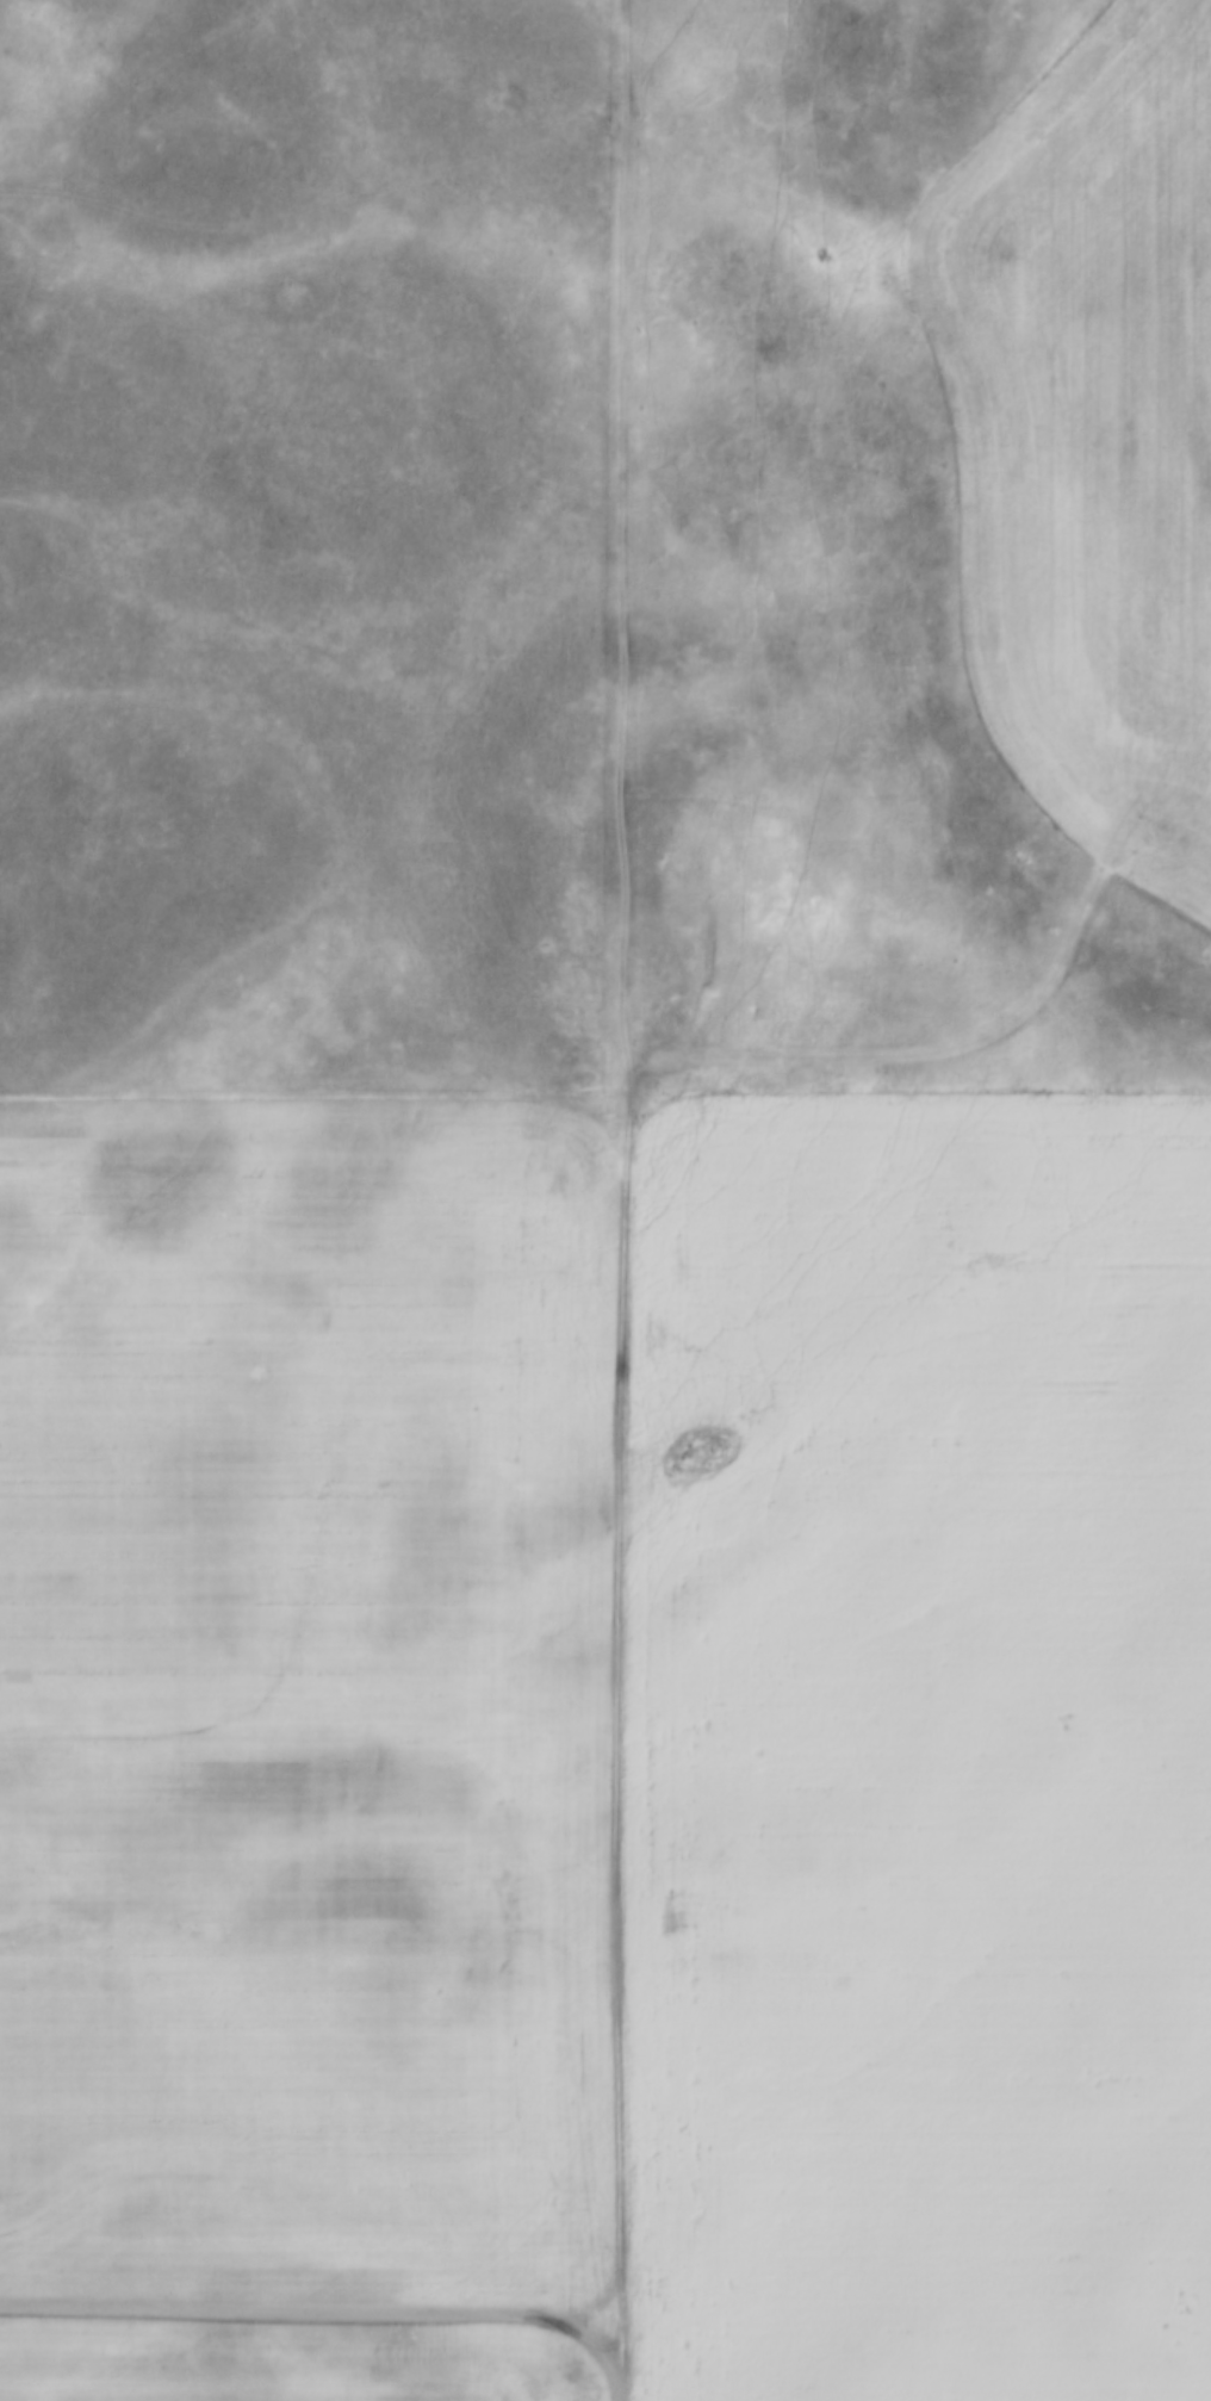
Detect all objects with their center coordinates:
road: (622, 1200)
road: (333, 2312)

